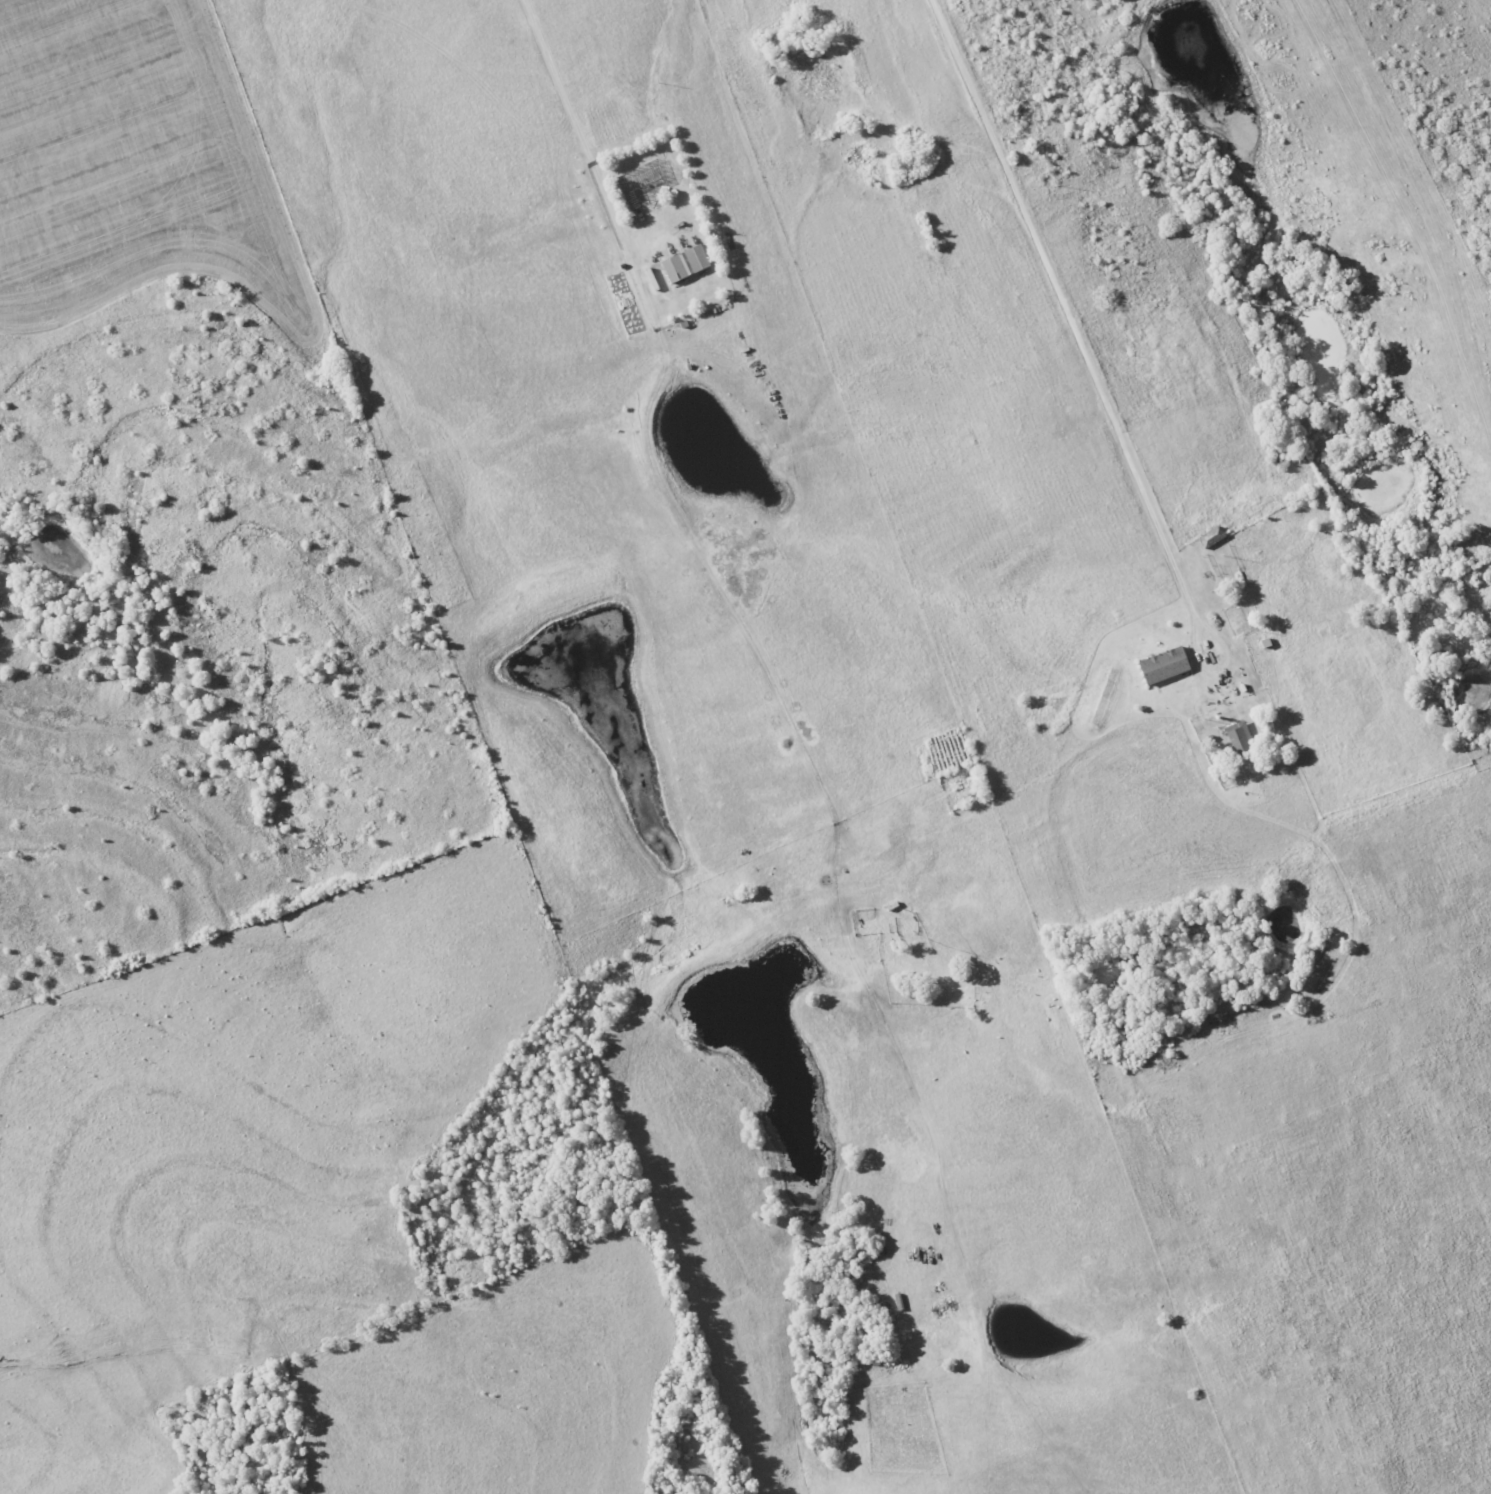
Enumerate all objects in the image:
road: (570, 127)
road: (1403, 214)
building: (683, 263)
road: (1079, 334)
building: (1162, 666)
building: (1238, 739)

